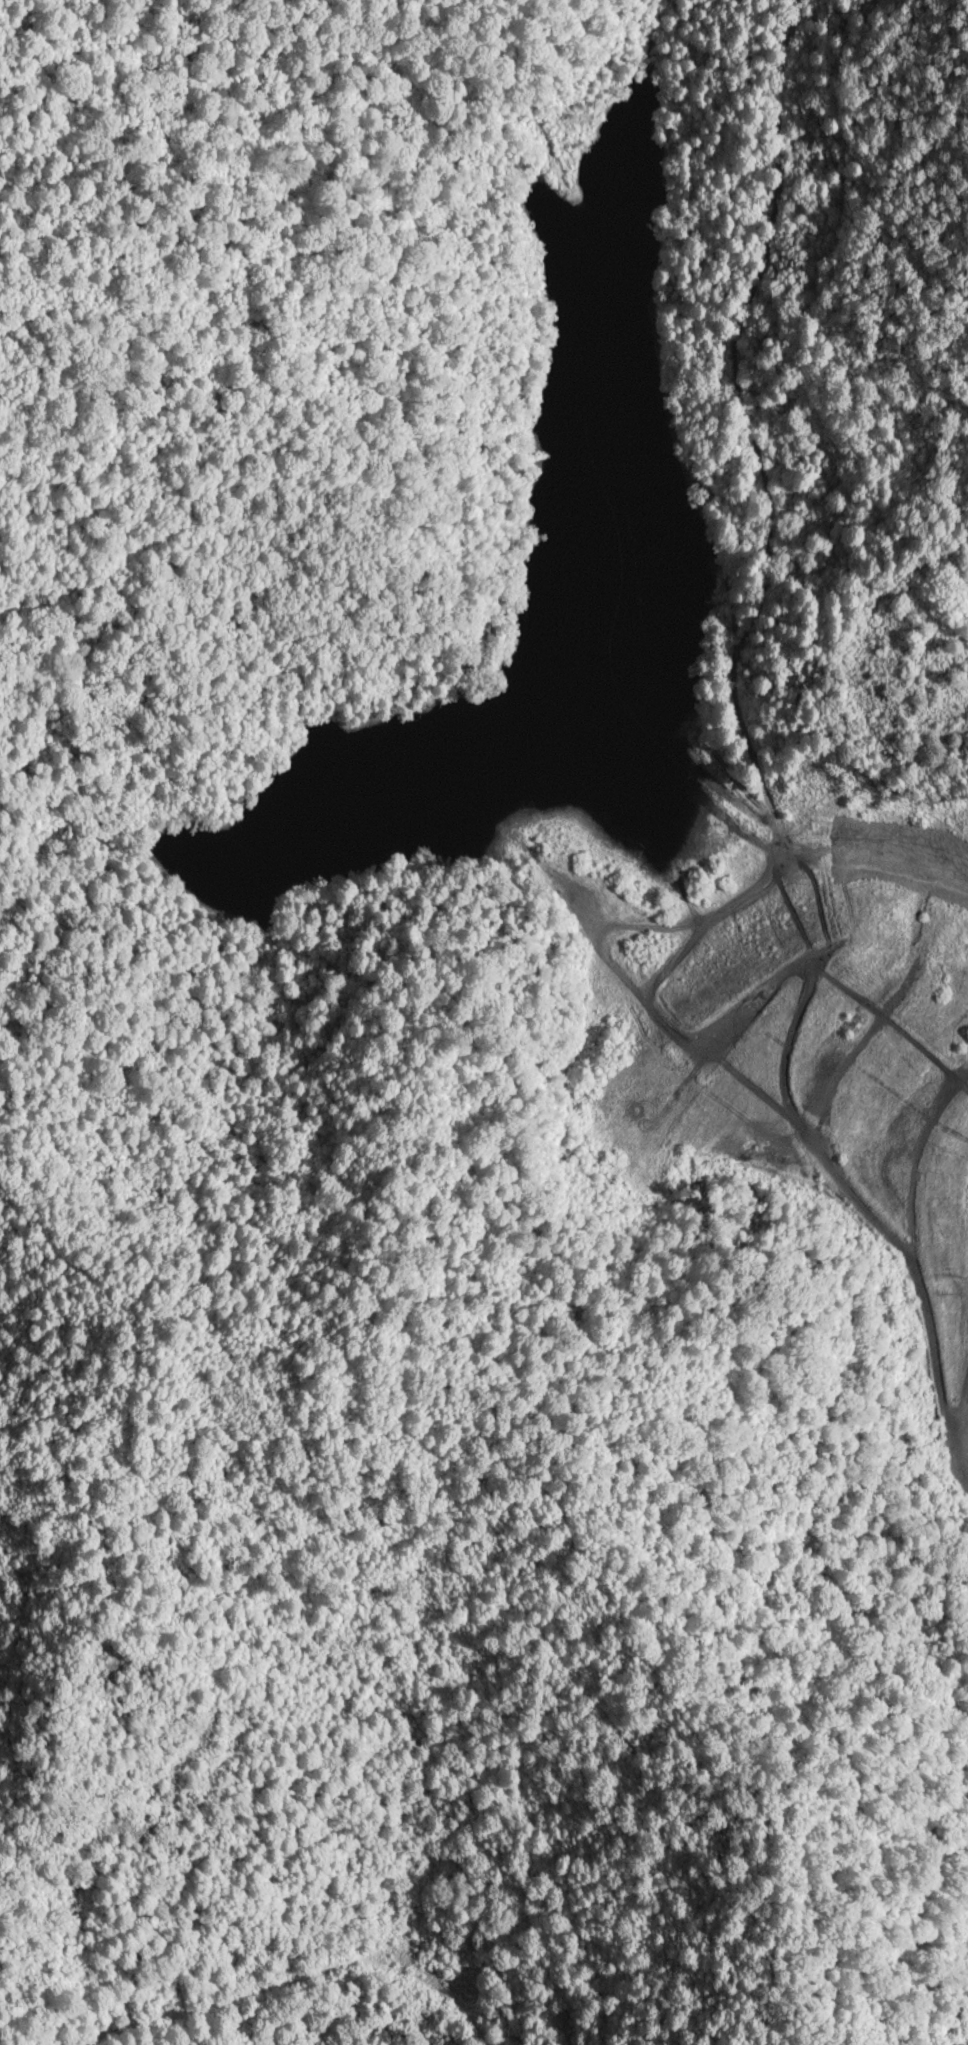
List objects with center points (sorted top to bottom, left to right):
road: (241, 319)
road: (549, 925)

